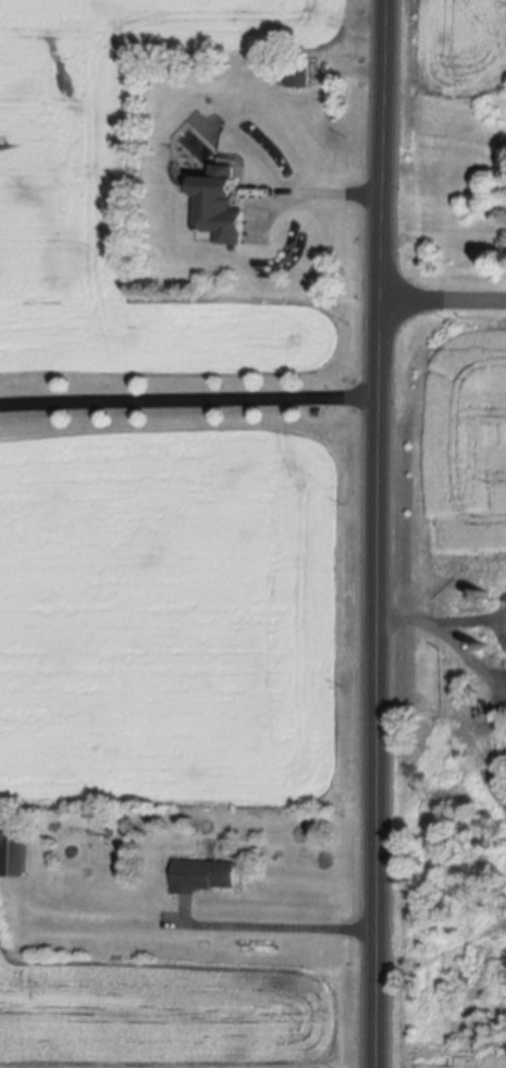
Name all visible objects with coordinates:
building: (299, 76)
road: (323, 191)
building: (223, 207)
road: (444, 302)
road: (190, 392)
road: (382, 533)
building: (489, 597)
road: (448, 645)
building: (485, 650)
building: (15, 857)
building: (203, 877)
road: (280, 922)

